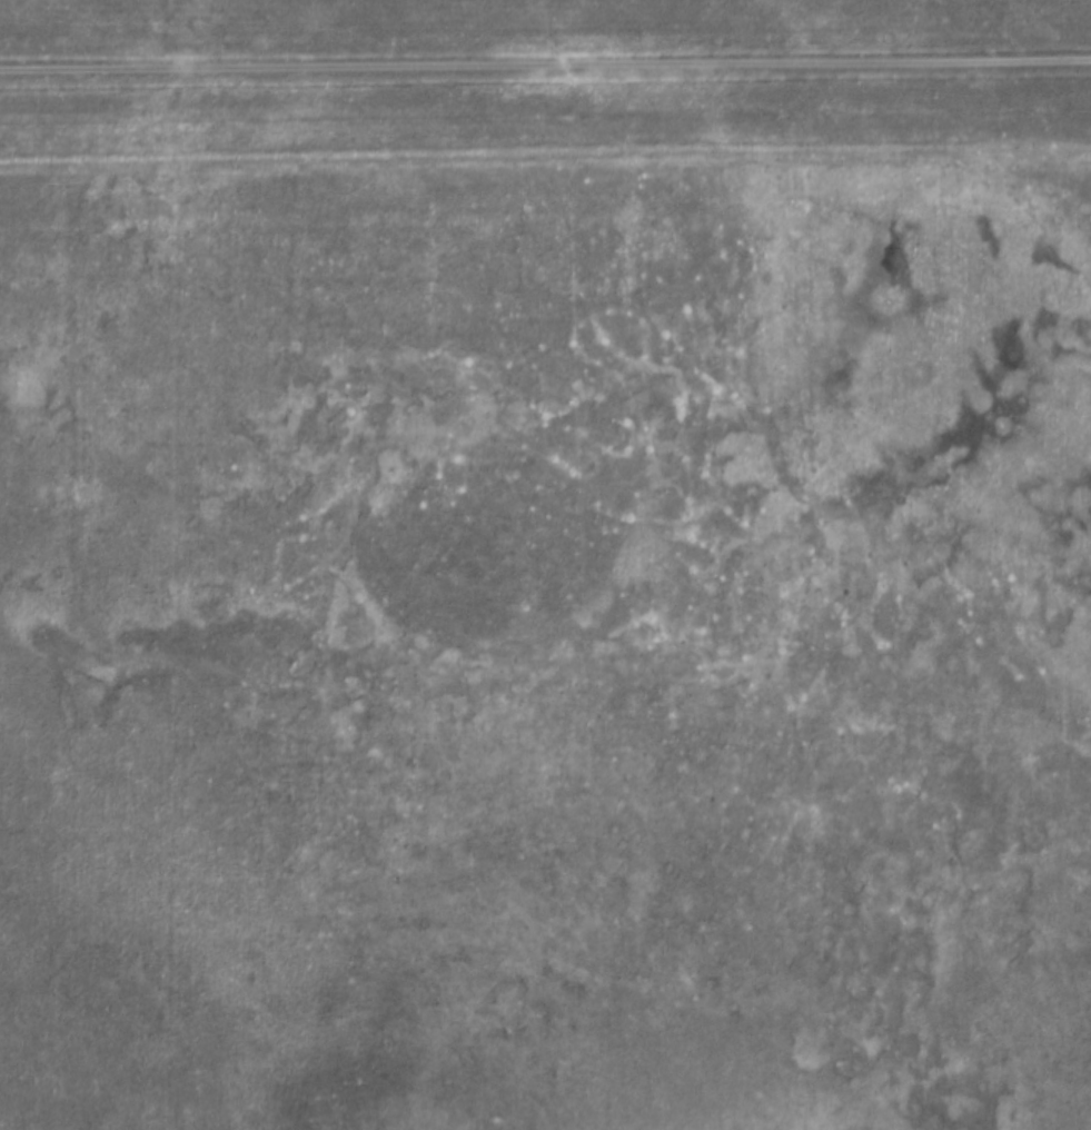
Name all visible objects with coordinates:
road: (545, 68)
building: (644, 358)
building: (652, 458)
building: (301, 537)
building: (329, 573)
building: (665, 575)
building: (506, 578)
building: (822, 602)
building: (792, 611)
building: (306, 666)
building: (542, 666)
building: (658, 733)
building: (685, 790)
building: (618, 822)

